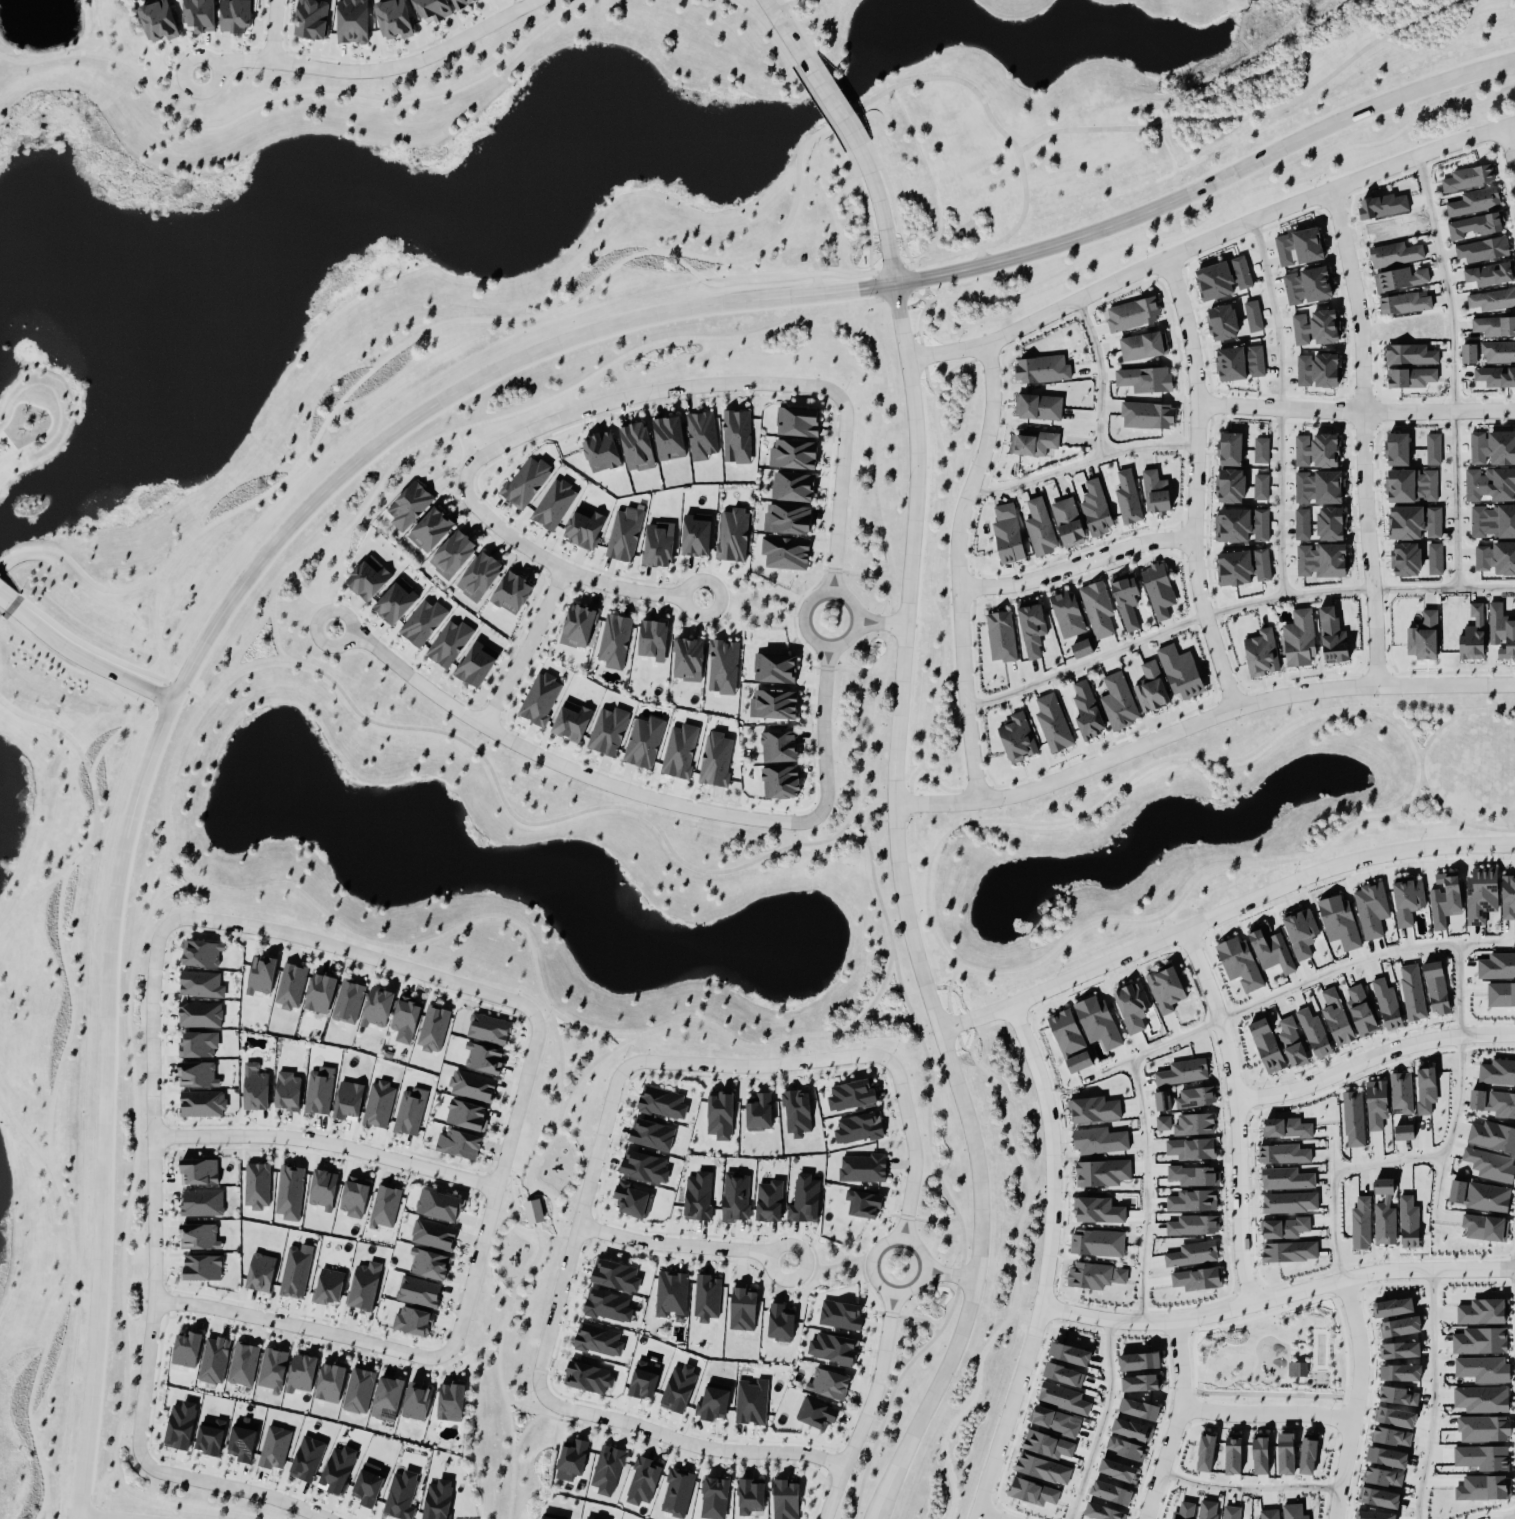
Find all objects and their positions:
building: (463, 3)
building: (432, 10)
building: (236, 15)
building: (200, 16)
building: (311, 19)
building: (395, 19)
building: (159, 21)
building: (354, 21)
road: (102, 26)
road: (783, 29)
road: (801, 29)
road: (274, 30)
road: (771, 31)
road: (373, 70)
park: (52, 73)
road: (1318, 82)
road: (287, 93)
road: (830, 103)
road: (1156, 121)
road: (1080, 128)
road: (1001, 130)
road: (1510, 150)
building: (1470, 178)
building: (1476, 202)
building: (1385, 207)
road: (880, 213)
road: (1201, 224)
building: (1477, 227)
road: (1209, 238)
road: (978, 242)
building: (1301, 248)
building: (1484, 250)
building: (1396, 255)
building: (1492, 275)
building: (1225, 279)
building: (1402, 280)
building: (1309, 287)
road: (897, 295)
road: (922, 297)
building: (1492, 301)
building: (1405, 305)
road: (862, 306)
building: (1133, 315)
building: (1253, 317)
building: (1224, 323)
building: (1328, 327)
building: (1494, 327)
road: (766, 329)
building: (1302, 330)
building: (1143, 347)
building: (1499, 353)
building: (1471, 354)
building: (1411, 355)
building: (1042, 370)
building: (1305, 371)
building: (1329, 371)
road: (1453, 371)
road: (926, 374)
road: (1100, 377)
building: (1413, 378)
building: (1496, 378)
building: (1146, 380)
road: (737, 383)
road: (1280, 407)
building: (1038, 408)
road: (1356, 412)
building: (1148, 416)
building: (798, 423)
road: (396, 427)
building: (702, 436)
road: (1362, 436)
building: (736, 438)
building: (670, 439)
building: (1034, 444)
road: (9, 447)
building: (637, 448)
building: (1493, 449)
building: (1232, 450)
building: (1434, 450)
building: (1261, 451)
building: (1328, 451)
building: (1400, 451)
building: (1303, 452)
building: (602, 453)
road: (461, 455)
building: (794, 456)
road: (1080, 463)
road: (446, 482)
building: (526, 483)
road: (1194, 484)
building: (1430, 486)
building: (1491, 486)
building: (1232, 487)
building: (1261, 487)
building: (1403, 487)
building: (793, 488)
building: (1320, 488)
building: (1157, 493)
building: (553, 505)
building: (409, 506)
building: (1096, 509)
building: (788, 520)
building: (1069, 523)
building: (1493, 523)
building: (1417, 524)
building: (1303, 525)
building: (1333, 525)
building: (1262, 526)
building: (1234, 527)
building: (585, 528)
building: (1040, 529)
building: (431, 531)
building: (624, 535)
building: (1009, 535)
building: (697, 536)
building: (733, 536)
building: (658, 546)
building: (785, 554)
building: (453, 556)
building: (1436, 560)
building: (1497, 560)
building: (1408, 561)
building: (1323, 562)
road: (1076, 564)
building: (1244, 569)
road: (566, 570)
road: (960, 570)
road: (863, 571)
road: (926, 575)
building: (480, 578)
building: (369, 579)
road: (754, 592)
building: (1160, 592)
building: (513, 594)
road: (841, 594)
building: (1127, 600)
road: (312, 601)
road: (5, 602)
building: (396, 603)
road: (1232, 609)
building: (1098, 610)
road: (347, 612)
building: (1068, 615)
road: (881, 620)
building: (423, 623)
building: (578, 627)
building: (1034, 629)
road: (275, 631)
building: (1488, 634)
road: (248, 636)
building: (1002, 637)
building: (1425, 638)
building: (1334, 639)
building: (1300, 640)
building: (653, 641)
building: (614, 642)
building: (449, 644)
road: (524, 648)
building: (1084, 650)
building: (1263, 654)
road: (86, 661)
road: (256, 661)
building: (688, 661)
building: (476, 666)
building: (723, 668)
building: (775, 669)
road: (854, 669)
building: (1182, 673)
building: (1152, 690)
building: (539, 699)
building: (1119, 703)
building: (774, 705)
building: (1088, 712)
road: (1199, 722)
building: (572, 723)
building: (1053, 725)
road: (1405, 726)
road: (1438, 729)
building: (608, 732)
road: (823, 732)
building: (1018, 740)
building: (643, 743)
building: (779, 748)
building: (679, 752)
building: (715, 760)
road: (558, 765)
road: (1422, 766)
road: (911, 781)
building: (781, 784)
road: (1439, 802)
road: (1409, 803)
road: (902, 819)
road: (544, 821)
road: (849, 821)
road: (861, 822)
road: (882, 828)
road: (912, 833)
road: (852, 834)
road: (177, 864)
road: (173, 888)
building: (1483, 896)
road: (28, 899)
building: (1508, 899)
building: (1409, 900)
building: (1447, 900)
road: (927, 901)
building: (1373, 910)
road: (1221, 913)
road: (904, 914)
building: (1340, 922)
building: (1301, 932)
building: (1272, 950)
road: (351, 951)
building: (202, 953)
road: (533, 957)
building: (1241, 964)
building: (262, 975)
building: (201, 985)
building: (291, 986)
road: (881, 987)
building: (1167, 988)
road: (1293, 988)
building: (1439, 988)
building: (1413, 992)
building: (321, 993)
building: (1501, 994)
building: (348, 1002)
building: (1389, 1005)
building: (1133, 1007)
building: (378, 1008)
road: (949, 1009)
building: (1362, 1011)
road: (889, 1014)
building: (200, 1015)
building: (1338, 1017)
building: (405, 1020)
building: (1099, 1022)
building: (433, 1029)
building: (489, 1029)
building: (1316, 1034)
building: (1071, 1040)
building: (1293, 1042)
building: (198, 1045)
building: (1269, 1045)
road: (927, 1056)
road: (561, 1057)
road: (1372, 1057)
building: (484, 1059)
road: (592, 1064)
road: (760, 1065)
building: (1183, 1072)
building: (1498, 1073)
building: (197, 1075)
road: (1460, 1078)
building: (472, 1087)
building: (255, 1088)
building: (1427, 1090)
building: (287, 1091)
building: (319, 1091)
building: (1403, 1092)
road: (52, 1093)
building: (852, 1095)
building: (1197, 1097)
building: (349, 1101)
building: (1164, 1101)
building: (1495, 1103)
building: (202, 1104)
building: (662, 1104)
building: (1378, 1104)
building: (378, 1105)
building: (1095, 1109)
building: (410, 1112)
building: (760, 1112)
building: (797, 1112)
road: (1236, 1113)
building: (466, 1115)
building: (721, 1116)
building: (1354, 1119)
building: (1164, 1124)
building: (1195, 1124)
building: (859, 1128)
building: (1290, 1128)
building: (1408, 1132)
building: (652, 1135)
road: (24, 1136)
building: (1493, 1136)
building: (1101, 1141)
road: (599, 1142)
road: (569, 1143)
building: (459, 1144)
road: (324, 1145)
road: (135, 1147)
building: (1193, 1149)
road: (912, 1150)
building: (1284, 1154)
road: (1017, 1157)
road: (1388, 1162)
building: (1490, 1165)
building: (645, 1167)
building: (863, 1169)
building: (199, 1172)
building: (1103, 1173)
building: (1194, 1176)
building: (1287, 1179)
building: (256, 1186)
road: (494, 1186)
road: (152, 1187)
building: (324, 1190)
road: (1040, 1190)
road: (1146, 1190)
building: (289, 1193)
building: (699, 1197)
building: (1483, 1197)
building: (355, 1198)
building: (736, 1198)
building: (632, 1200)
building: (805, 1200)
building: (770, 1201)
building: (1193, 1201)
road: (516, 1203)
building: (1291, 1203)
building: (202, 1204)
building: (864, 1204)
building: (439, 1206)
building: (384, 1207)
building: (1099, 1210)
road: (1333, 1210)
building: (534, 1212)
road: (552, 1212)
building: (1385, 1213)
road: (933, 1220)
building: (1410, 1223)
building: (1362, 1224)
building: (1194, 1225)
building: (1286, 1228)
building: (1486, 1228)
building: (434, 1235)
building: (199, 1237)
building: (1098, 1243)
road: (681, 1245)
building: (1290, 1252)
building: (1193, 1254)
building: (430, 1264)
road: (1046, 1264)
road: (830, 1265)
building: (202, 1268)
building: (261, 1273)
building: (295, 1273)
road: (499, 1274)
road: (947, 1275)
building: (616, 1276)
building: (1096, 1276)
building: (1198, 1279)
building: (329, 1287)
building: (365, 1288)
building: (419, 1292)
road: (901, 1293)
building: (671, 1294)
road: (1277, 1298)
building: (707, 1299)
road: (509, 1305)
building: (608, 1307)
building: (1395, 1308)
road: (554, 1310)
building: (743, 1310)
building: (1484, 1312)
building: (841, 1315)
road: (915, 1317)
building: (413, 1321)
building: (781, 1324)
road: (295, 1325)
building: (1402, 1327)
building: (598, 1341)
building: (1481, 1341)
building: (834, 1349)
building: (187, 1350)
building: (1402, 1350)
building: (1072, 1354)
park: (1273, 1358)
building: (214, 1361)
building: (1142, 1361)
building: (1411, 1361)
building: (243, 1364)
building: (272, 1370)
building: (1298, 1370)
building: (1485, 1370)
building: (1404, 1373)
building: (301, 1374)
building: (1064, 1374)
building: (589, 1378)
building: (645, 1381)
building: (331, 1383)
building: (1143, 1383)
building: (829, 1384)
building: (680, 1388)
road: (892, 1390)
building: (358, 1391)
road: (1428, 1395)
building: (1400, 1396)
building: (388, 1399)
building: (1064, 1399)
road: (1357, 1400)
building: (1483, 1400)
building: (418, 1402)
building: (752, 1402)
building: (451, 1403)
building: (714, 1405)
road: (866, 1407)
building: (1141, 1409)
road: (1267, 1411)
building: (816, 1414)
building: (1397, 1417)
building: (1055, 1421)
road: (1102, 1421)
road: (1178, 1423)
building: (181, 1426)
building: (1485, 1430)
building: (1133, 1431)
building: (1393, 1437)
building: (211, 1438)
building: (242, 1444)
road: (689, 1445)
building: (1049, 1445)
building: (274, 1448)
building: (1127, 1449)
building: (1209, 1453)
building: (1250, 1454)
building: (1290, 1454)
building: (1310, 1456)
building: (1390, 1457)
building: (1483, 1458)
building: (307, 1460)
building: (572, 1460)
building: (1044, 1469)
building: (338, 1470)
building: (607, 1471)
building: (1121, 1471)
building: (1385, 1477)
building: (643, 1482)
building: (368, 1486)
road: (1249, 1488)
building: (1488, 1488)
road: (228, 1489)
building: (677, 1493)
building: (1033, 1493)
building: (1114, 1493)
building: (401, 1496)
building: (751, 1496)
building: (1381, 1498)
building: (715, 1499)
building: (786, 1499)
building: (439, 1500)
building: (1111, 1504)
road: (41, 1509)
building: (1209, 1510)
building: (1186, 1511)
building: (1104, 1512)
building: (1295, 1512)
building: (1232, 1513)
building: (1270, 1514)
road: (987, 1515)
building: (1376, 1515)
road: (86, 1518)
building: (546, 1518)
building: (587, 1518)

